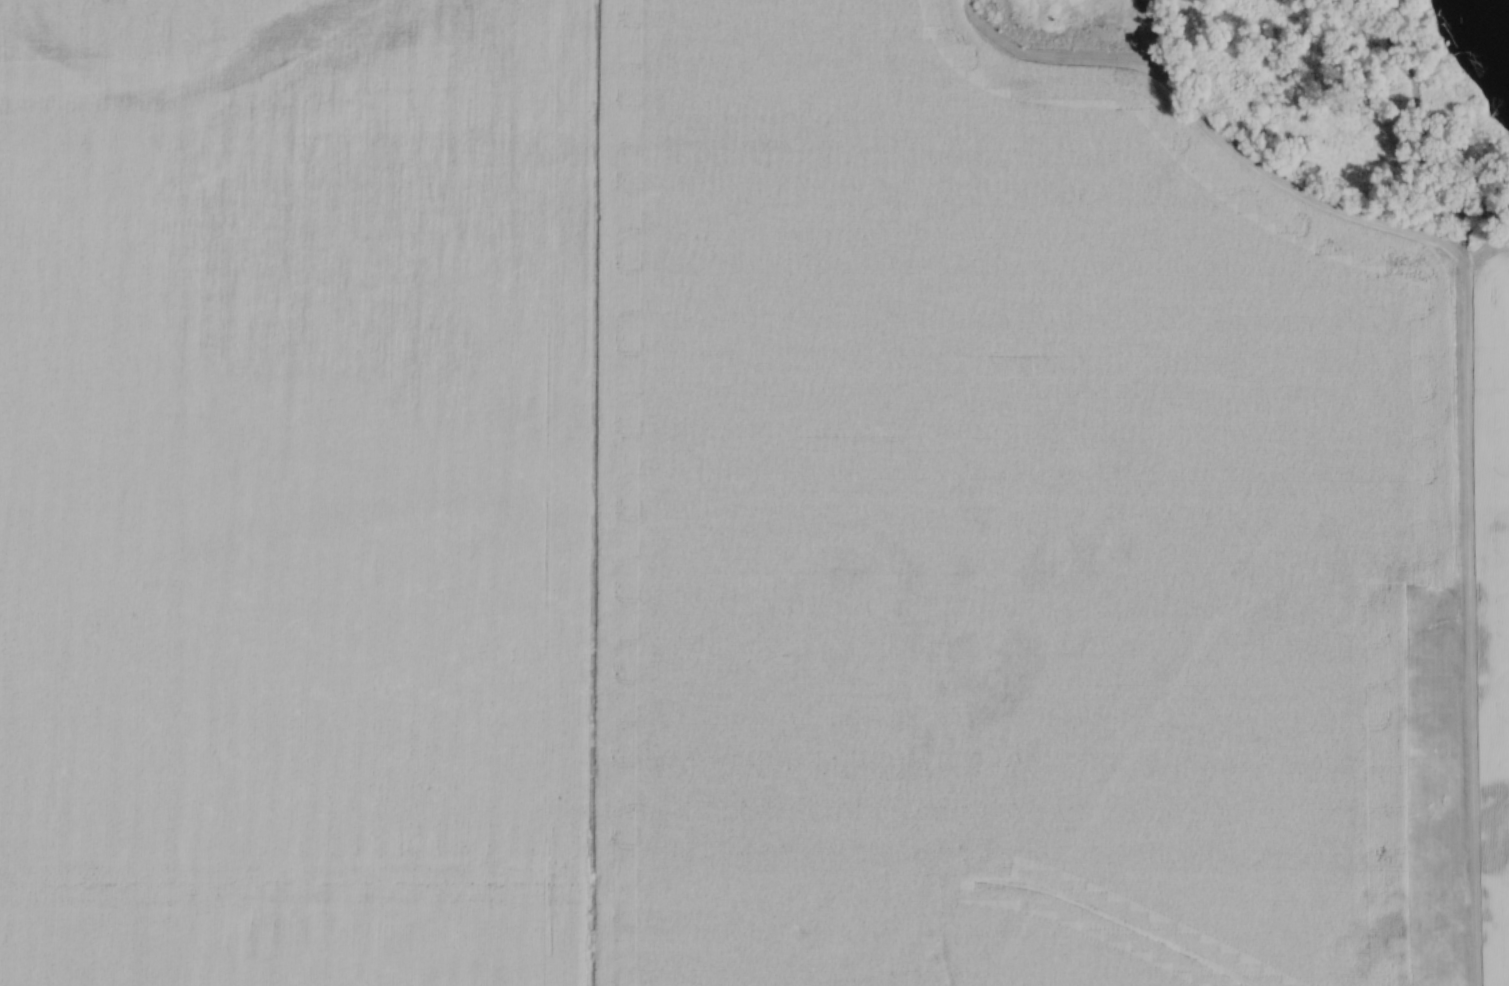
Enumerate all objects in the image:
road: (1457, 406)

